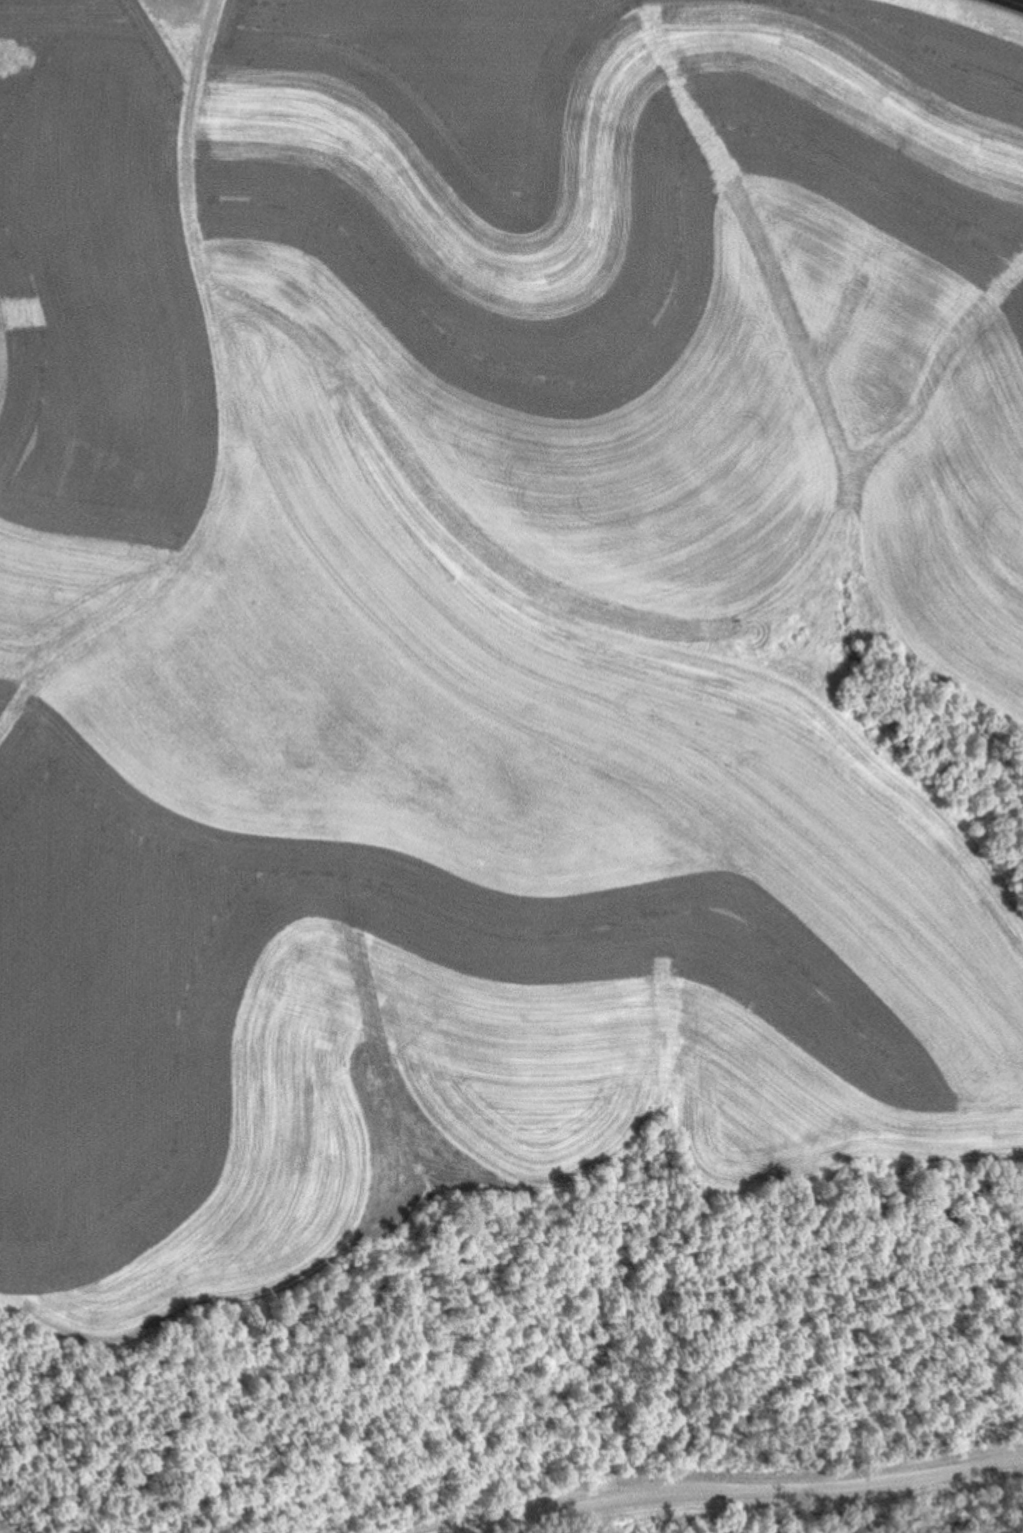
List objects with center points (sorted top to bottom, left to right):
road: (1014, 2)
road: (863, 472)
road: (741, 1492)

